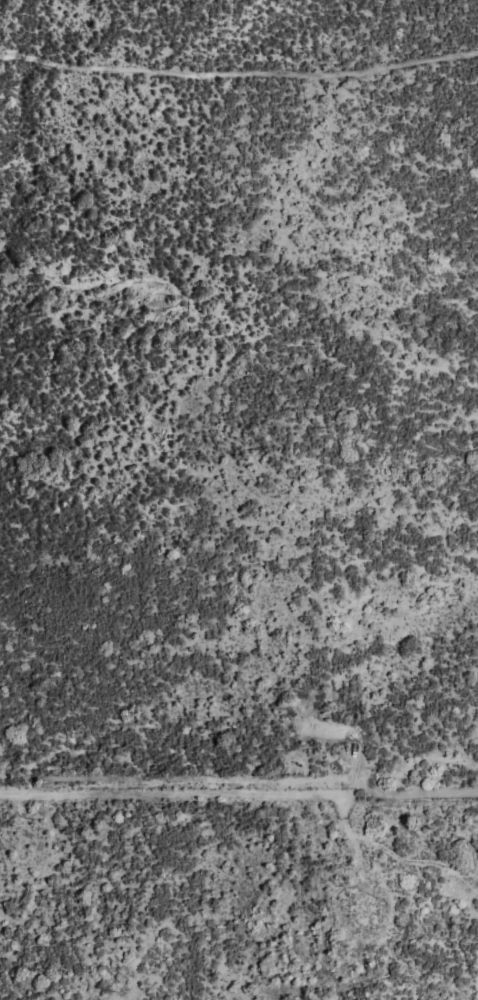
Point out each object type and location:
road: (172, 785)

